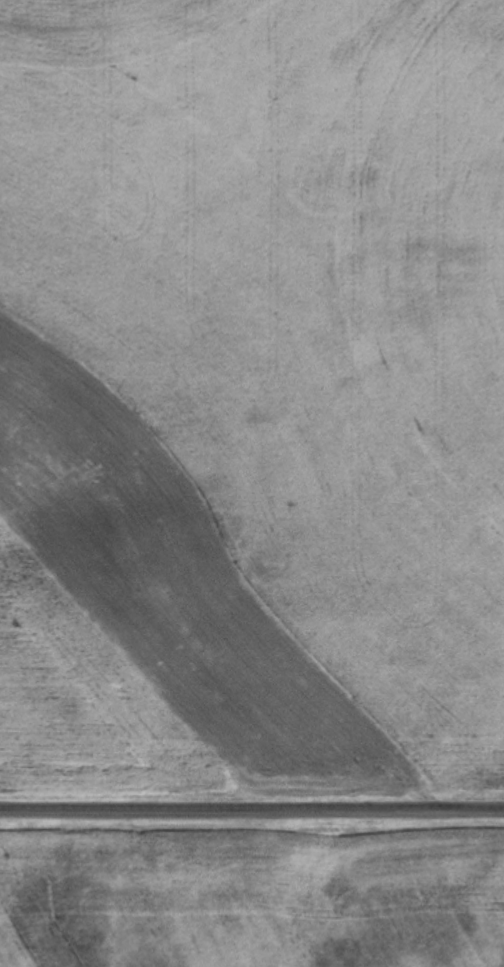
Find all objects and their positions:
road: (251, 801)

